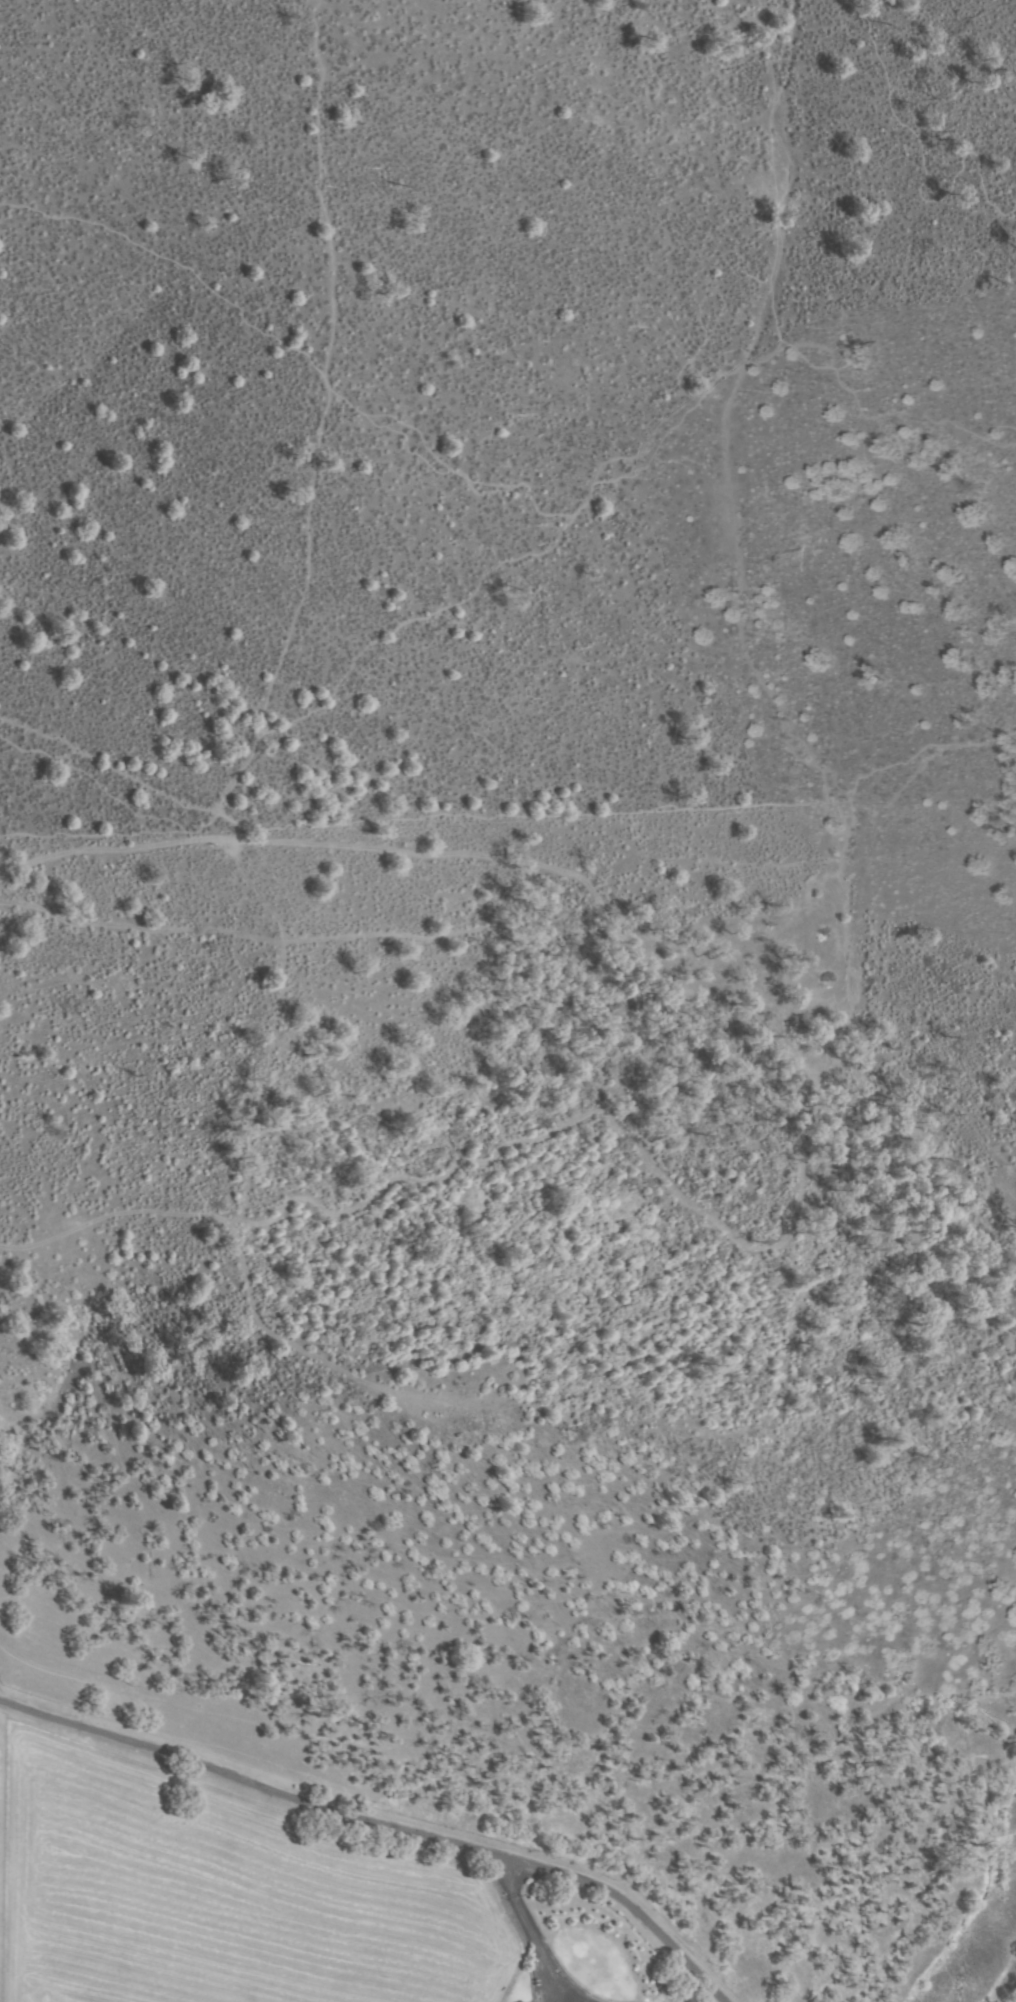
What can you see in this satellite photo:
road: (507, 821)
road: (381, 1822)

